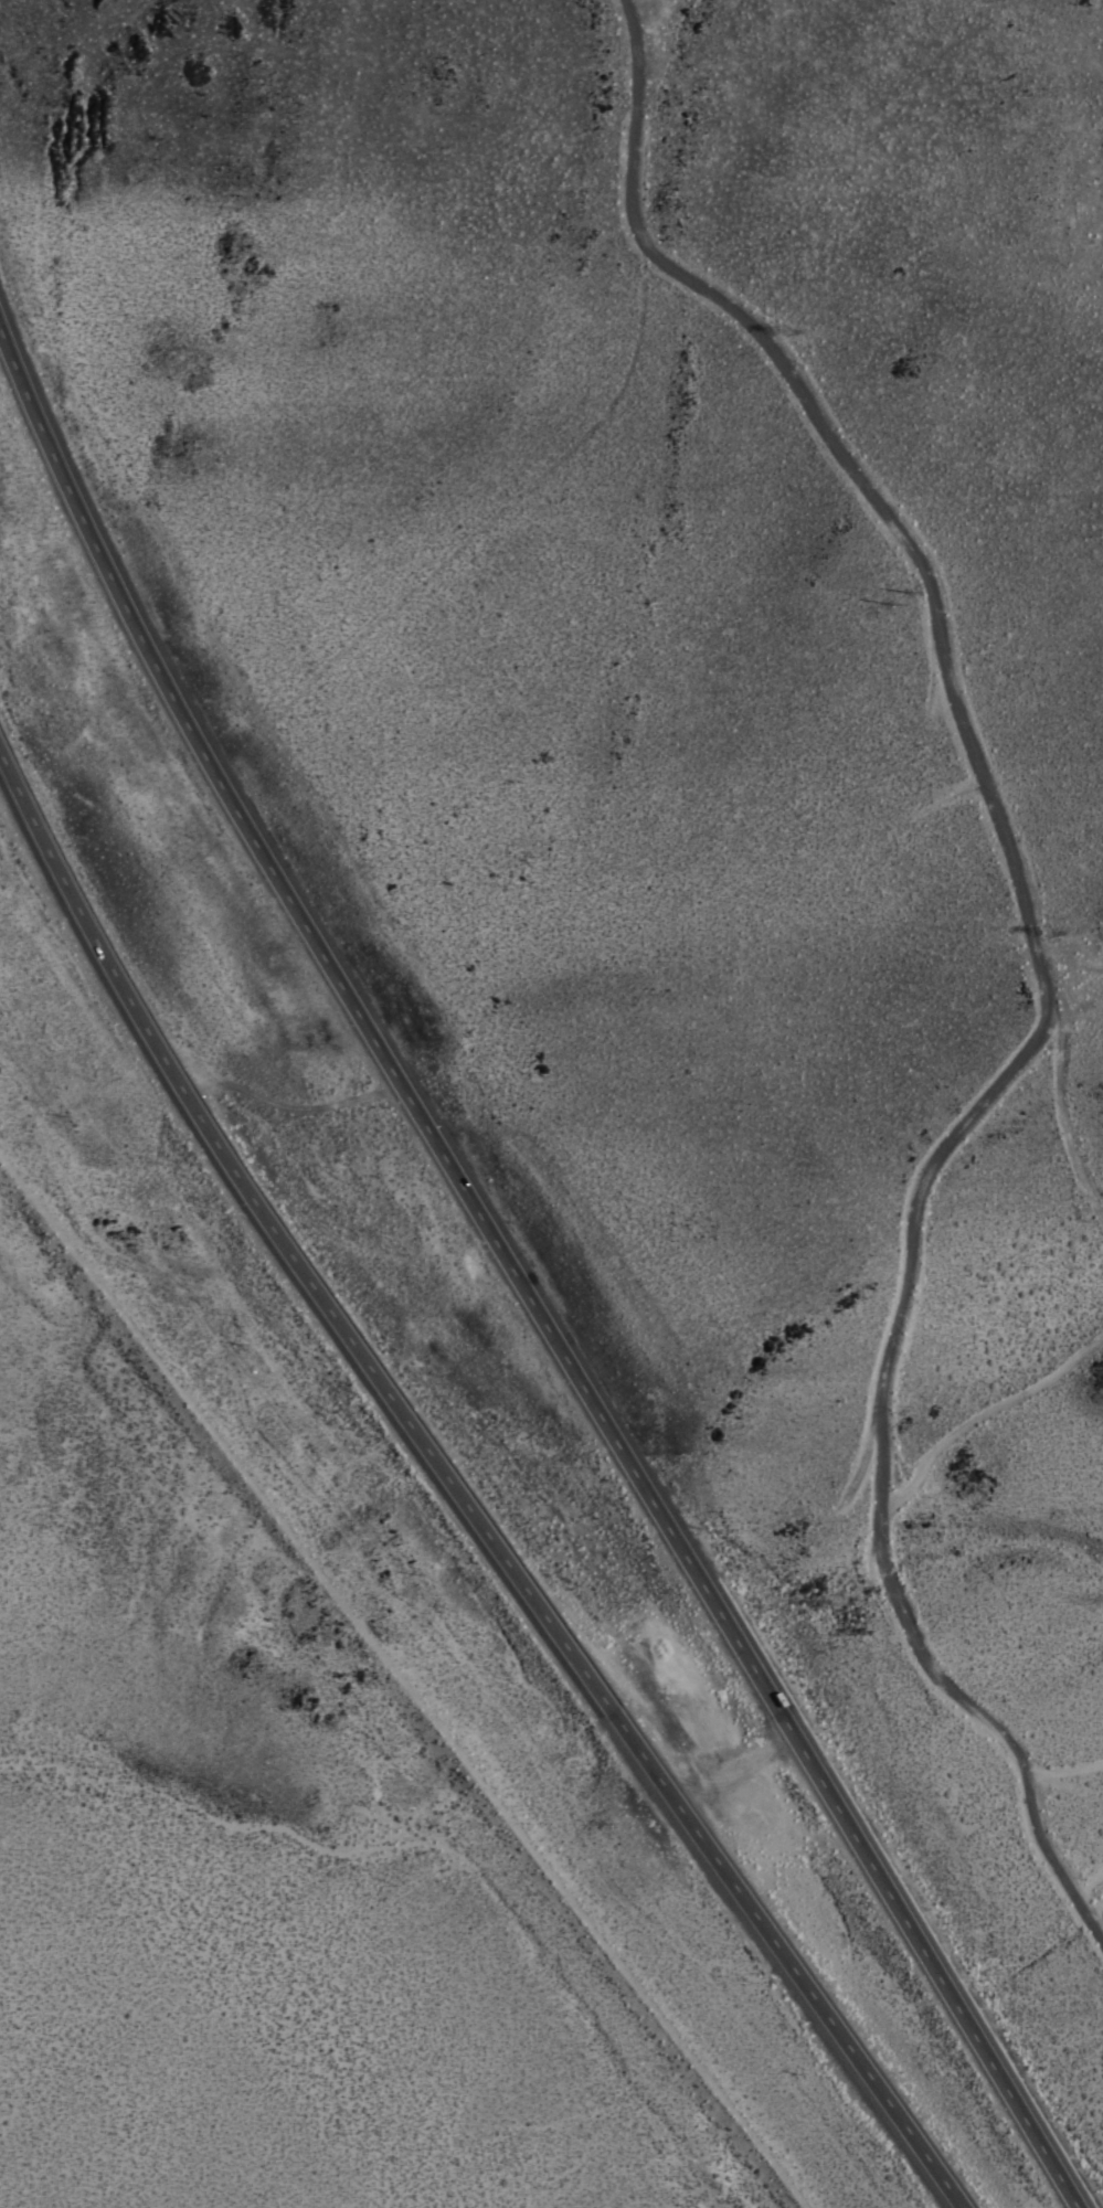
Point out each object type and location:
power tower: (787, 330)
power tower: (902, 593)
power tower: (1046, 935)
road: (511, 1274)
road: (455, 1500)

